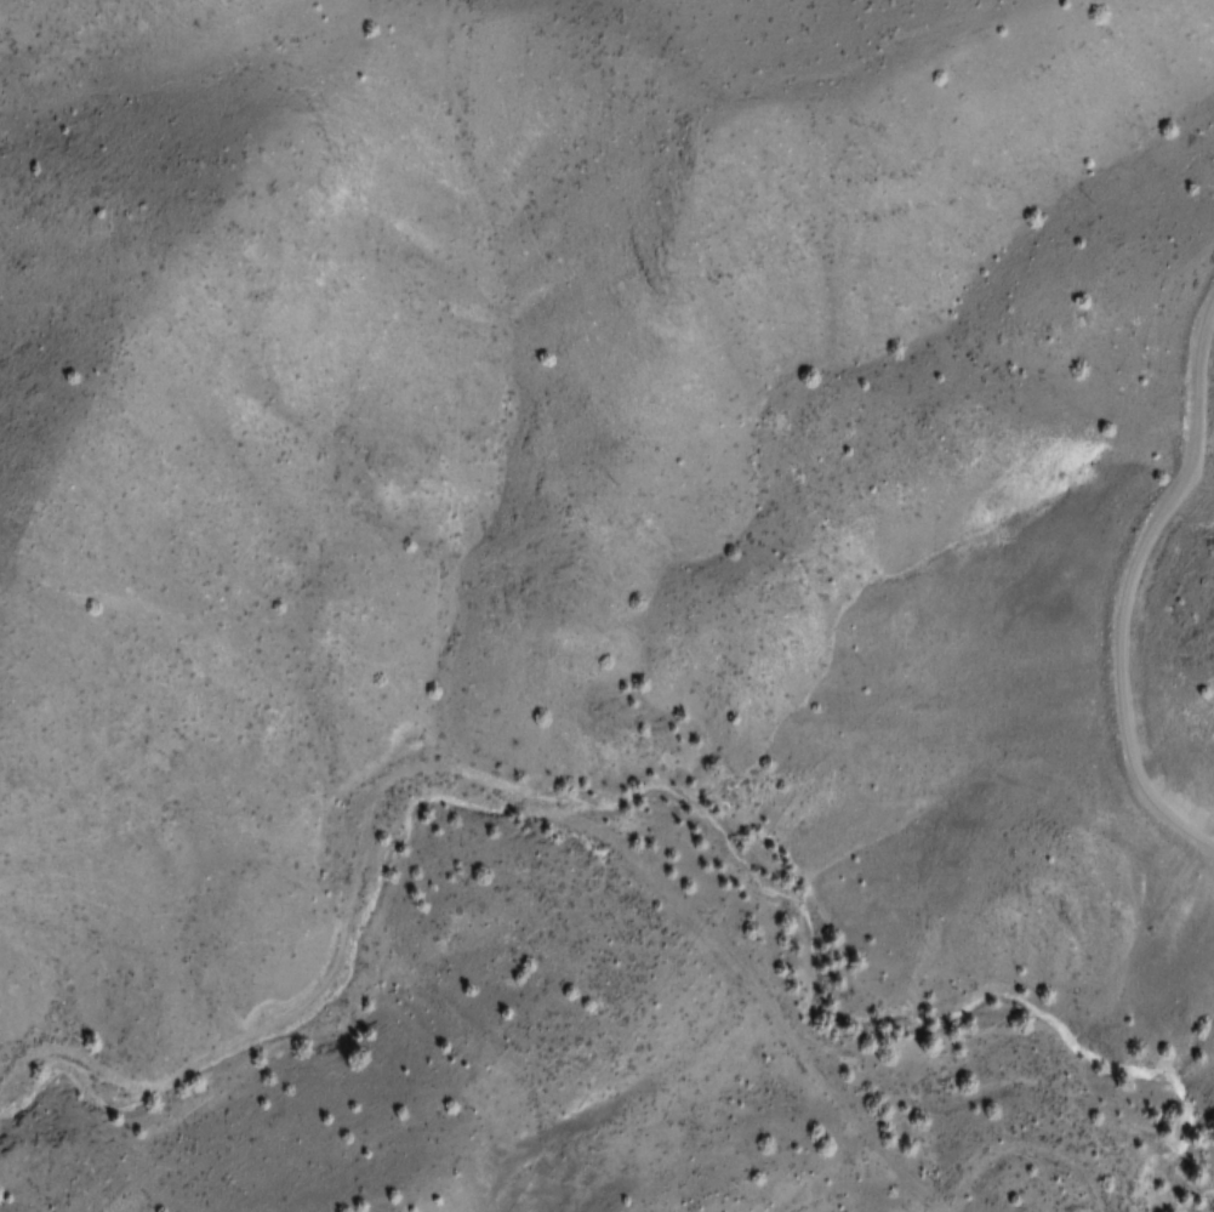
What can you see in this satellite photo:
road: (1132, 581)

